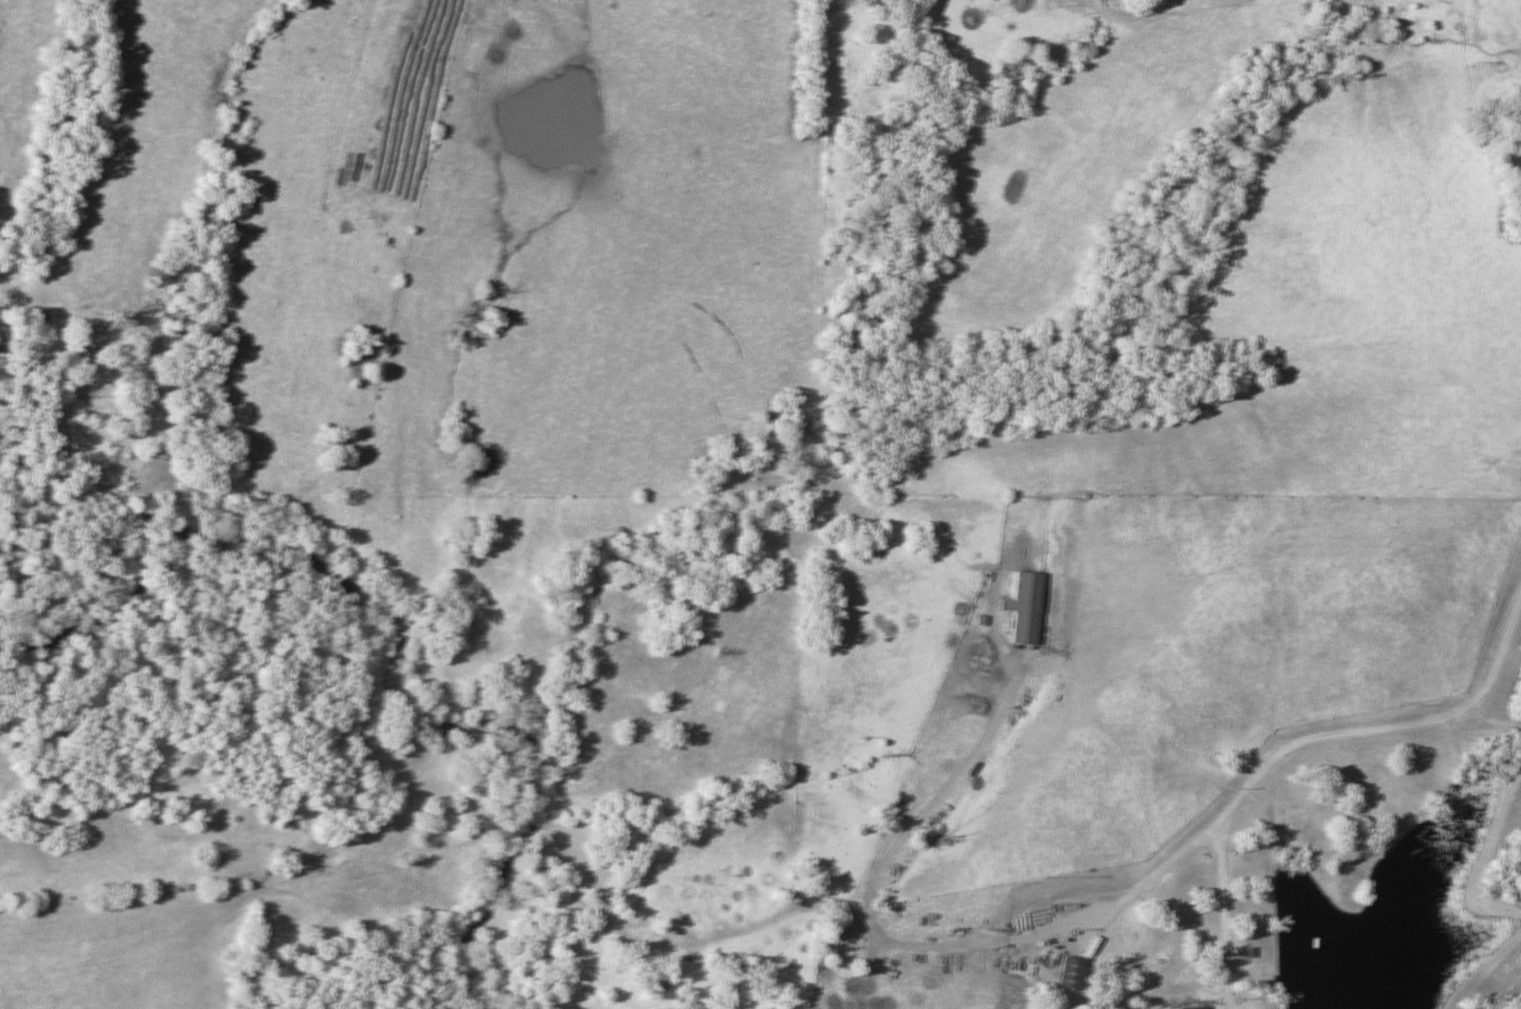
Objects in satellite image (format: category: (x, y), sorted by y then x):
building: (1019, 606)
road: (1299, 741)
building: (1067, 974)
building: (1187, 1008)

